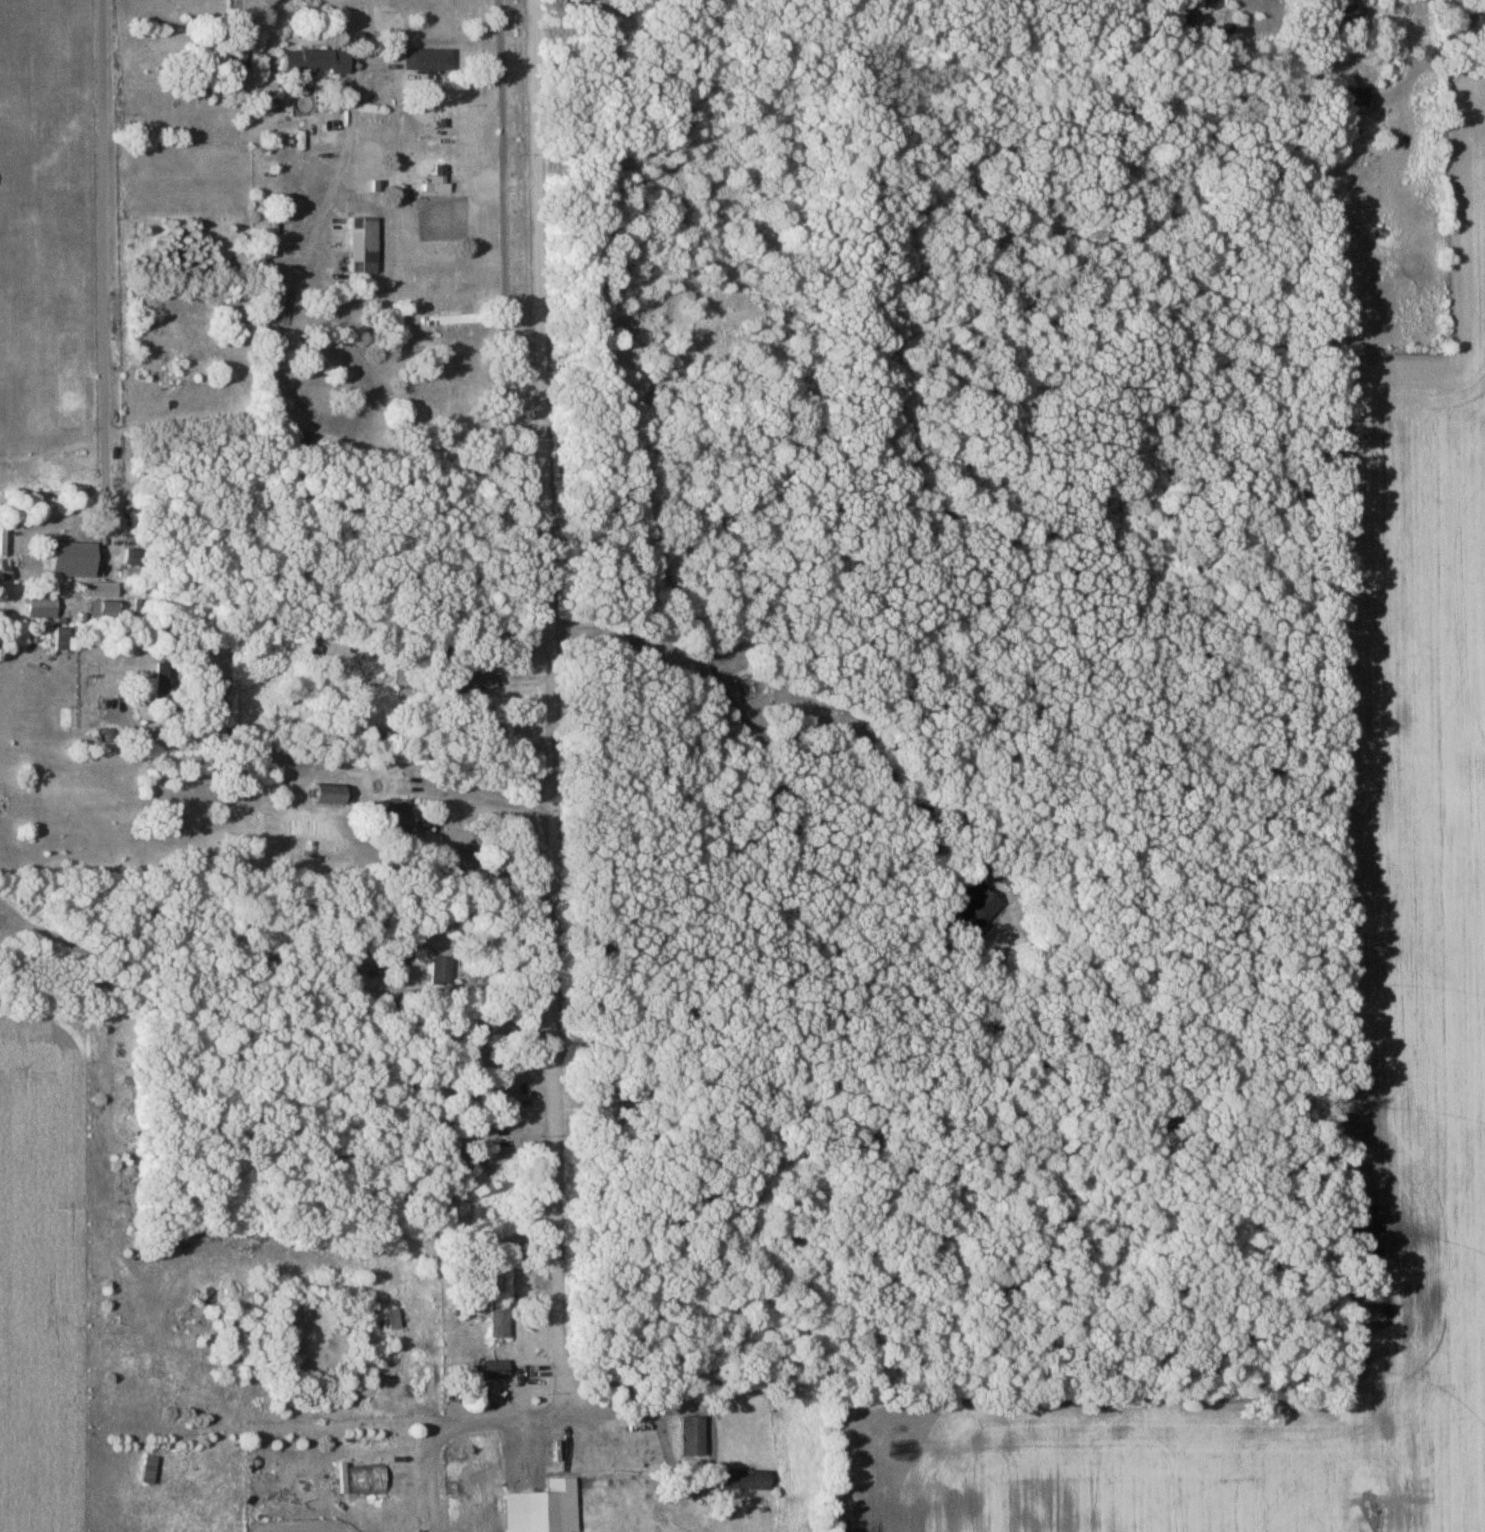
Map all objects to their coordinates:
road: (240, 11)
road: (1319, 14)
building: (1343, 14)
building: (1469, 24)
building: (210, 55)
building: (428, 59)
building: (316, 61)
road: (354, 91)
building: (1357, 96)
building: (363, 245)
road: (106, 274)
building: (135, 557)
building: (75, 559)
building: (42, 607)
building: (66, 639)
building: (472, 675)
building: (163, 688)
road: (332, 729)
road: (827, 753)
building: (329, 794)
road: (510, 807)
road: (553, 816)
building: (785, 827)
building: (454, 859)
building: (971, 913)
building: (440, 971)
building: (499, 1318)
building: (496, 1368)
building: (799, 1392)
road: (619, 1408)
building: (692, 1436)
building: (744, 1479)
building: (544, 1508)

